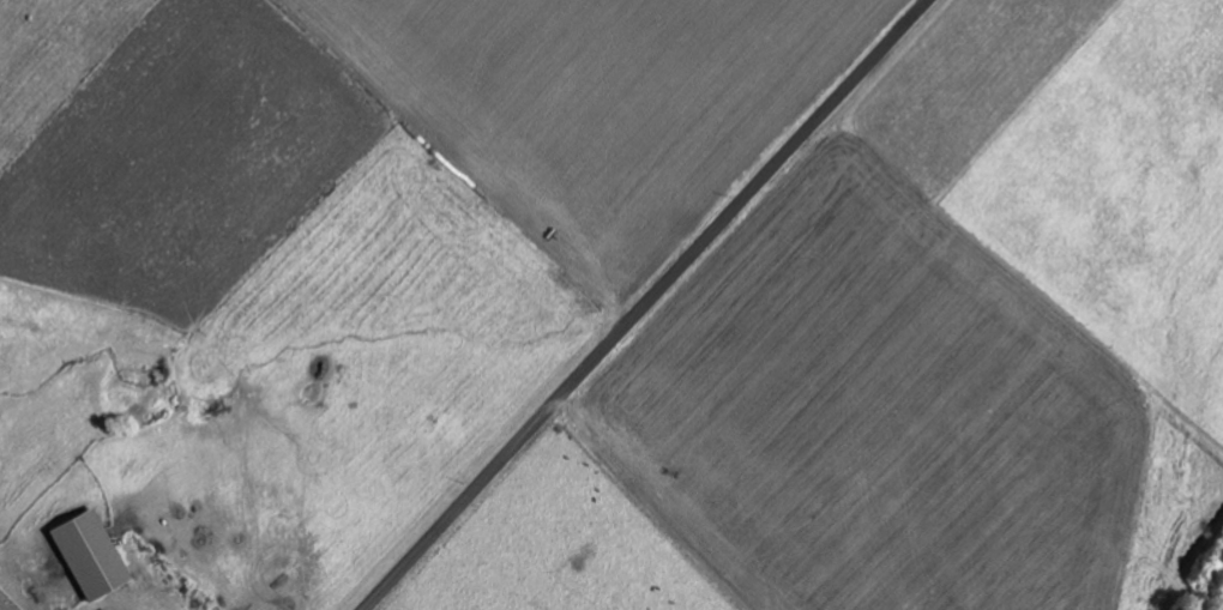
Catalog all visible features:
road: (644, 304)
building: (82, 554)
road: (145, 605)

